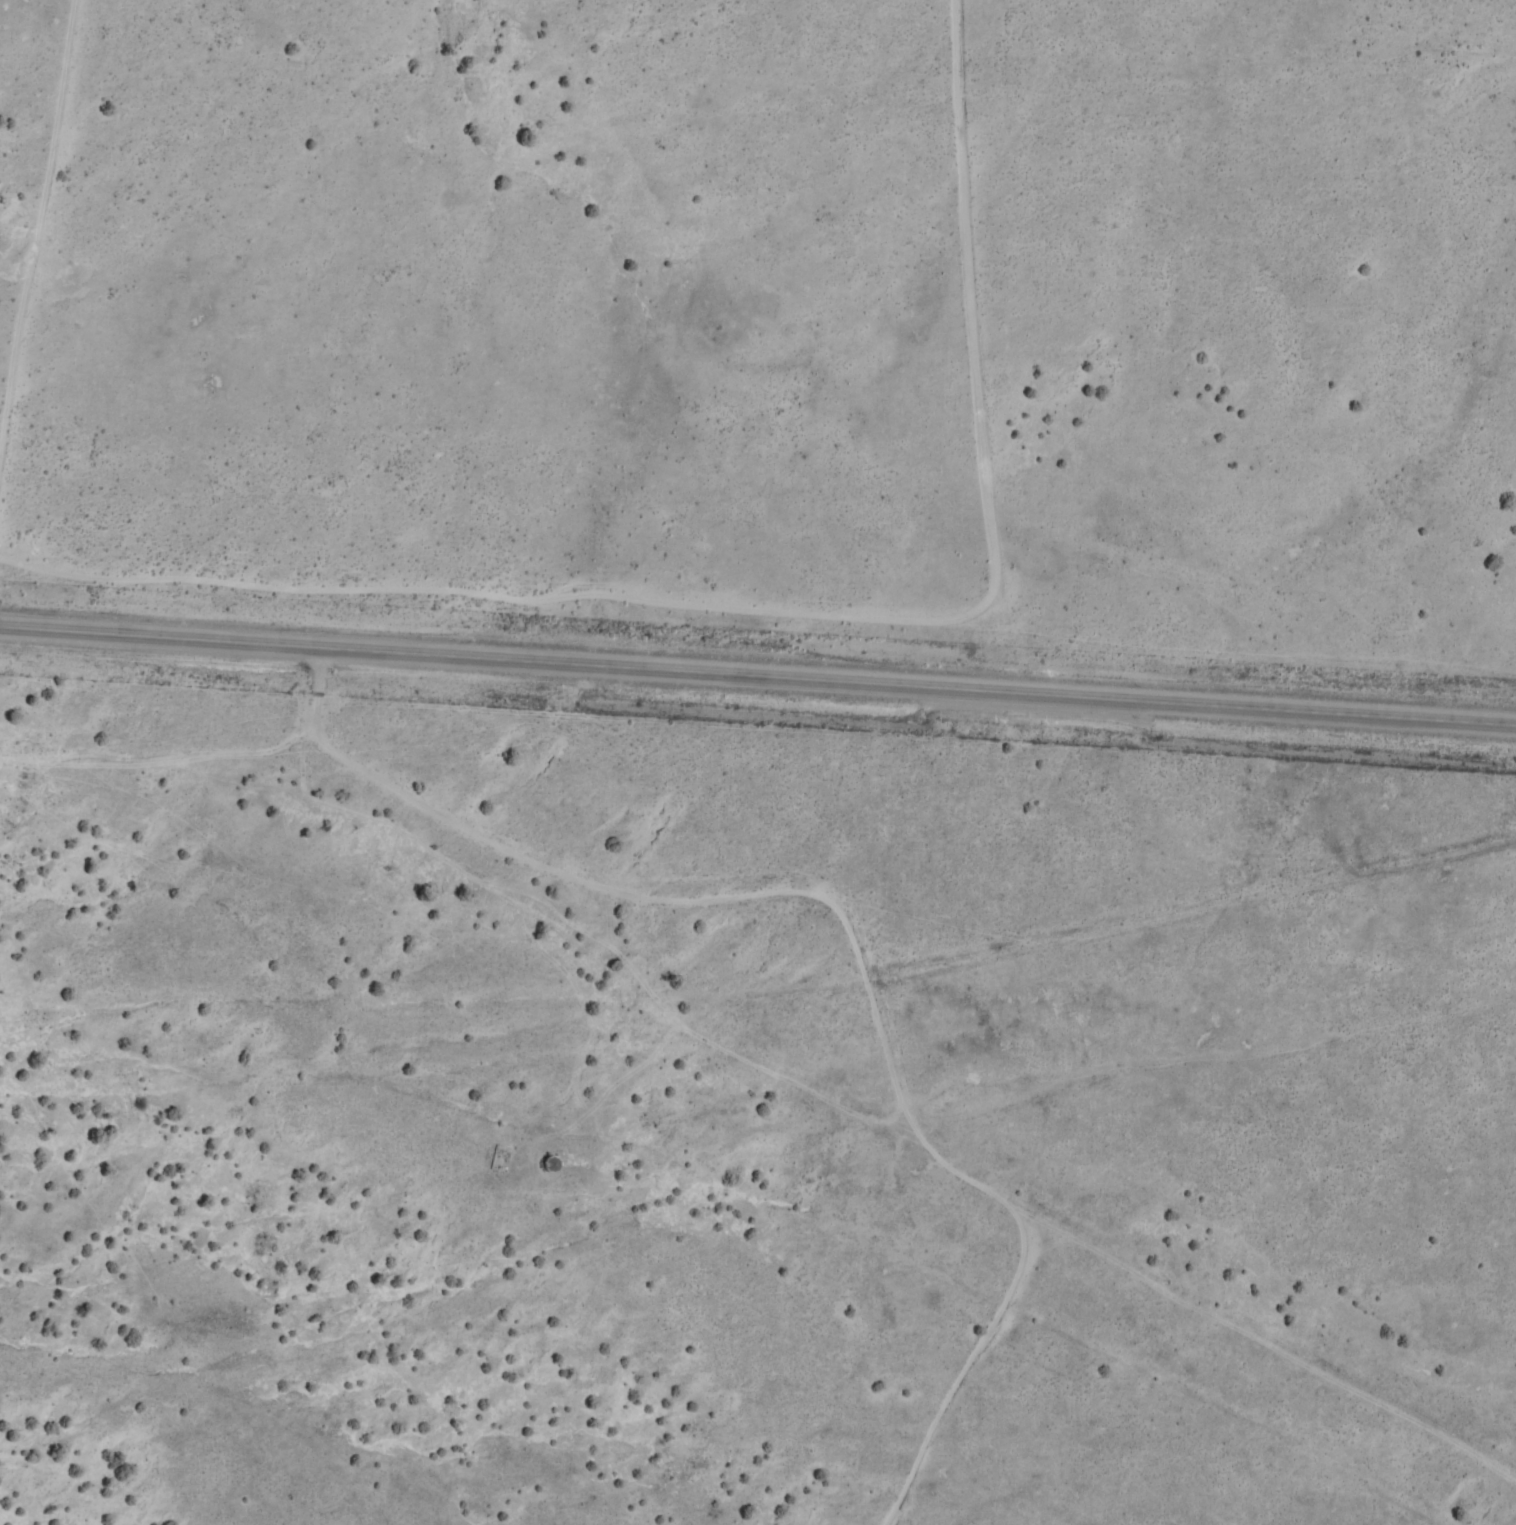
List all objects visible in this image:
road: (758, 674)
building: (505, 1157)

